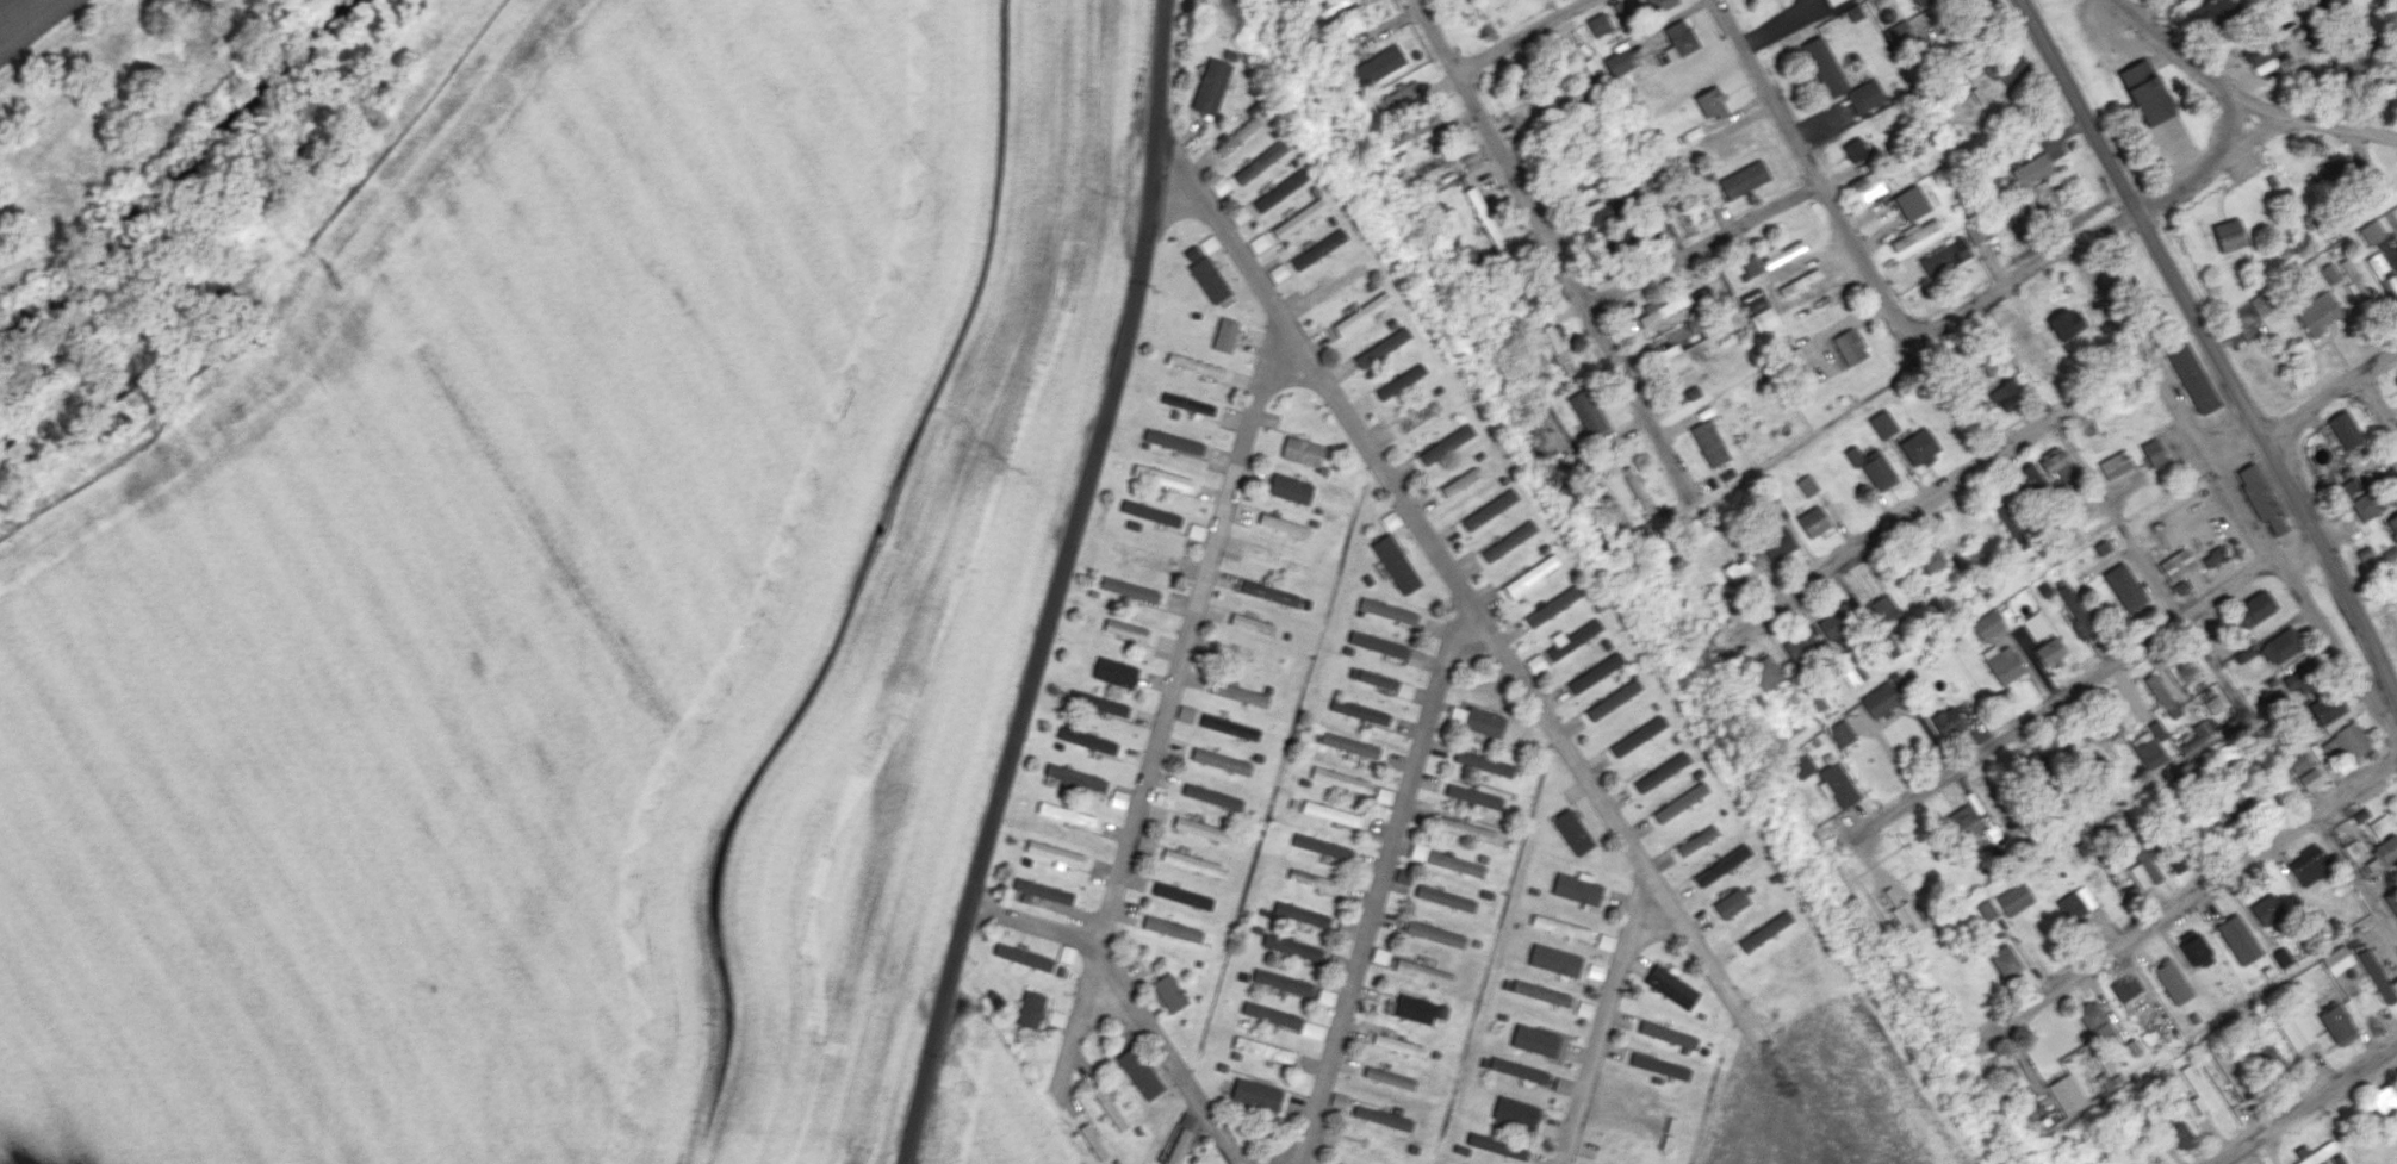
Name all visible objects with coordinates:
building: (1832, 1)
building: (1919, 1)
building: (1659, 5)
building: (1330, 6)
road: (2150, 8)
building: (2212, 12)
crop: (46, 20)
building: (1598, 24)
building: (1896, 32)
road: (1519, 35)
building: (1679, 39)
road: (2172, 46)
building: (2259, 50)
building: (2348, 60)
building: (1619, 62)
building: (1379, 64)
building: (2264, 66)
building: (1824, 67)
building: (2006, 69)
building: (1211, 86)
building: (2150, 92)
building: (1397, 95)
building: (1566, 95)
building: (1864, 95)
building: (2396, 101)
building: (1710, 102)
road: (2079, 105)
road: (2259, 106)
building: (1417, 127)
road: (2341, 127)
road: (2228, 130)
building: (1237, 135)
road: (2249, 138)
building: (1855, 149)
building: (1261, 161)
building: (1437, 163)
parking lot: (2242, 163)
building: (2031, 169)
road: (1814, 170)
building: (2327, 176)
road: (2238, 178)
building: (1744, 179)
building: (1219, 185)
building: (1867, 186)
building: (2378, 188)
building: (1280, 189)
road: (2176, 189)
building: (1911, 203)
building: (1606, 208)
building: (2022, 210)
building: (1240, 214)
building: (1299, 218)
building: (1653, 222)
building: (2370, 231)
building: (1914, 232)
building: (1975, 232)
building: (2230, 234)
building: (1259, 243)
building: (1319, 249)
road: (1707, 249)
road: (1557, 250)
building: (1781, 253)
building: (1944, 257)
building: (1751, 264)
building: (1278, 272)
building: (2329, 272)
building: (2379, 273)
road: (2024, 274)
building: (1209, 279)
building: (2353, 281)
building: (1799, 282)
building: (1701, 294)
building: (1753, 300)
building: (2258, 303)
building: (1660, 309)
building: (1362, 312)
building: (2316, 312)
building: (1763, 319)
building: (2064, 323)
building: (1225, 335)
building: (1558, 346)
building: (1383, 347)
building: (1850, 347)
building: (1683, 351)
building: (1196, 366)
building: (2396, 376)
building: (2191, 378)
building: (1693, 392)
road: (2330, 392)
building: (2005, 394)
building: (1188, 403)
road: (2377, 405)
building: (1589, 413)
building: (1420, 415)
building: (1882, 424)
building: (2343, 429)
building: (1174, 441)
building: (1709, 442)
building: (1446, 443)
building: (1919, 447)
building: (1302, 450)
building: (2151, 452)
road: (2272, 452)
building: (2056, 463)
building: (2115, 463)
building: (1871, 467)
building: (1162, 477)
road: (1966, 479)
building: (2029, 479)
building: (1460, 481)
building: (1806, 485)
building: (2348, 485)
road: (2230, 487)
building: (1291, 488)
building: (1637, 490)
building: (2259, 497)
building: (2364, 505)
building: (1490, 509)
building: (1150, 512)
building: (1390, 519)
building: (1812, 521)
building: (2008, 523)
building: (2392, 524)
building: (1284, 525)
building: (1196, 530)
building: (1509, 541)
building: (1776, 543)
building: (2100, 547)
building: (2389, 554)
building: (2211, 555)
building: (1929, 558)
building: (1396, 564)
building: (2175, 564)
building: (1745, 565)
building: (1532, 574)
road: (1057, 585)
building: (2123, 586)
building: (2179, 586)
building: (1130, 590)
building: (1269, 592)
road: (1467, 592)
crop: (567, 602)
building: (1553, 606)
building: (2253, 608)
building: (1883, 610)
building: (1389, 611)
building: (2075, 614)
building: (1836, 622)
building: (1252, 624)
building: (1987, 624)
building: (2033, 625)
building: (1125, 629)
building: (1572, 639)
building: (1799, 645)
building: (2280, 646)
building: (1386, 647)
building: (2049, 653)
building: (1535, 662)
building: (2002, 662)
building: (1849, 667)
building: (1116, 672)
building: (1596, 672)
building: (1764, 673)
building: (1385, 681)
building: (2297, 681)
road: (2081, 683)
building: (1240, 693)
road: (1167, 695)
building: (2161, 696)
building: (1881, 698)
building: (1614, 699)
building: (1815, 699)
building: (1099, 703)
building: (2212, 703)
building: (2325, 707)
building: (1361, 711)
building: (1186, 712)
building: (1946, 721)
building: (1484, 722)
building: (2331, 723)
building: (1230, 727)
building: (1840, 733)
building: (2194, 734)
building: (1638, 735)
building: (1087, 740)
building: (2342, 743)
building: (1349, 745)
building: (2149, 745)
building: (1221, 761)
building: (2297, 761)
building: (1483, 762)
building: (1802, 766)
building: (1662, 771)
building: (1075, 777)
building: (2309, 779)
building: (1341, 780)
building: (1836, 784)
building: (1384, 795)
building: (1212, 796)
building: (1473, 796)
building: (1118, 798)
building: (2230, 803)
building: (1330, 813)
building: (2359, 814)
building: (1067, 815)
building: (1963, 821)
building: (2378, 826)
building: (1201, 829)
building: (1465, 829)
building: (1572, 832)
building: (1697, 840)
building: (1322, 846)
building: (2351, 849)
building: (2382, 852)
building: (1054, 853)
building: (1447, 860)
building: (2175, 861)
building: (1194, 863)
building: (2141, 864)
building: (2308, 864)
building: (1722, 865)
building: (1403, 874)
road: (1384, 876)
building: (1314, 879)
road: (2356, 884)
building: (1577, 888)
building: (1043, 890)
building: (1182, 896)
building: (1445, 898)
building: (2014, 898)
road: (2190, 901)
building: (2391, 901)
building: (1731, 903)
building: (2074, 903)
building: (1986, 909)
building: (2265, 909)
building: (1302, 914)
building: (1905, 917)
building: (1560, 927)
building: (1172, 928)
building: (1345, 928)
building: (1765, 930)
building: (1434, 934)
building: (2237, 939)
building: (1604, 941)
building: (1292, 947)
building: (2193, 948)
building: (1379, 956)
building: (1023, 957)
building: (2280, 957)
building: (2335, 959)
building: (1554, 960)
building: (2005, 960)
building: (1423, 971)
building: (1595, 971)
building: (2376, 976)
building: (2172, 981)
building: (1281, 983)
building: (1671, 986)
building: (2125, 986)
building: (1169, 992)
building: (1541, 992)
building: (1325, 996)
road: (1135, 997)
building: (1030, 1009)
building: (1415, 1009)
building: (1584, 1009)
building: (1272, 1015)
building: (1056, 1017)
road: (1604, 1017)
building: (2092, 1020)
building: (2336, 1025)
building: (1312, 1029)
building: (2294, 1031)
building: (1668, 1034)
building: (1534, 1040)
building: (1398, 1045)
building: (2132, 1046)
building: (1262, 1048)
building: (2267, 1059)
building: (1659, 1066)
building: (1519, 1070)
building: (2228, 1071)
building: (1139, 1072)
building: (1390, 1078)
building: (2107, 1081)
building: (1561, 1085)
building: (2197, 1090)
building: (1256, 1094)
building: (2067, 1094)
crop: (1826, 1095)
building: (2382, 1098)
building: (1339, 1100)
crop: (980, 1102)
road: (2300, 1102)
building: (1109, 1107)
building: (1515, 1113)
building: (1381, 1118)
building: (1187, 1119)
building: (2176, 1131)
building: (1093, 1141)
building: (1496, 1145)
building: (1179, 1146)
building: (2314, 1152)

